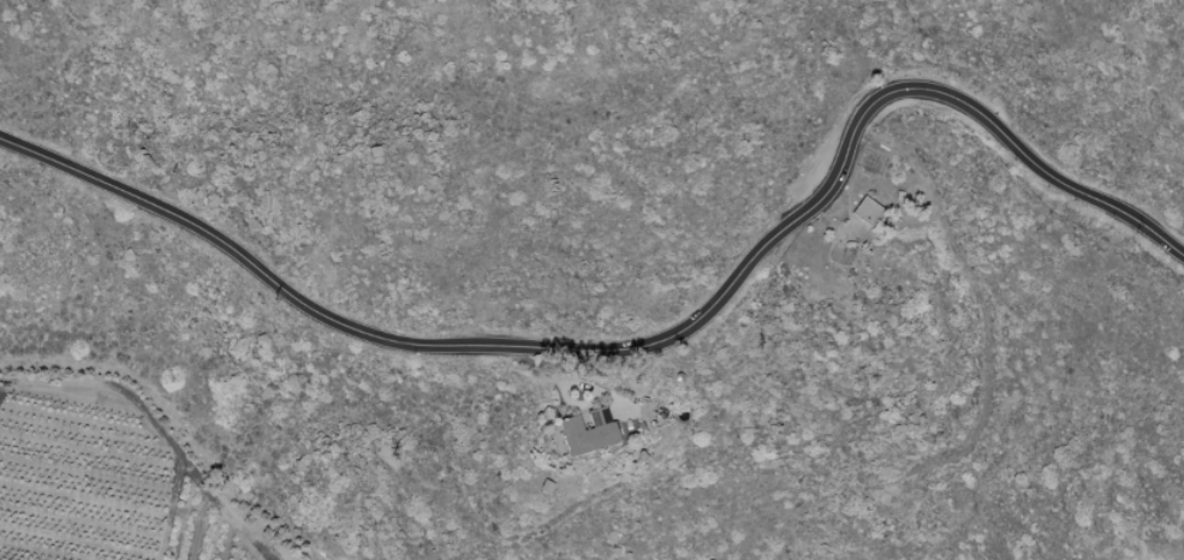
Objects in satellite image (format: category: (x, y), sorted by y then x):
building: (864, 212)
road: (650, 344)
building: (587, 433)

